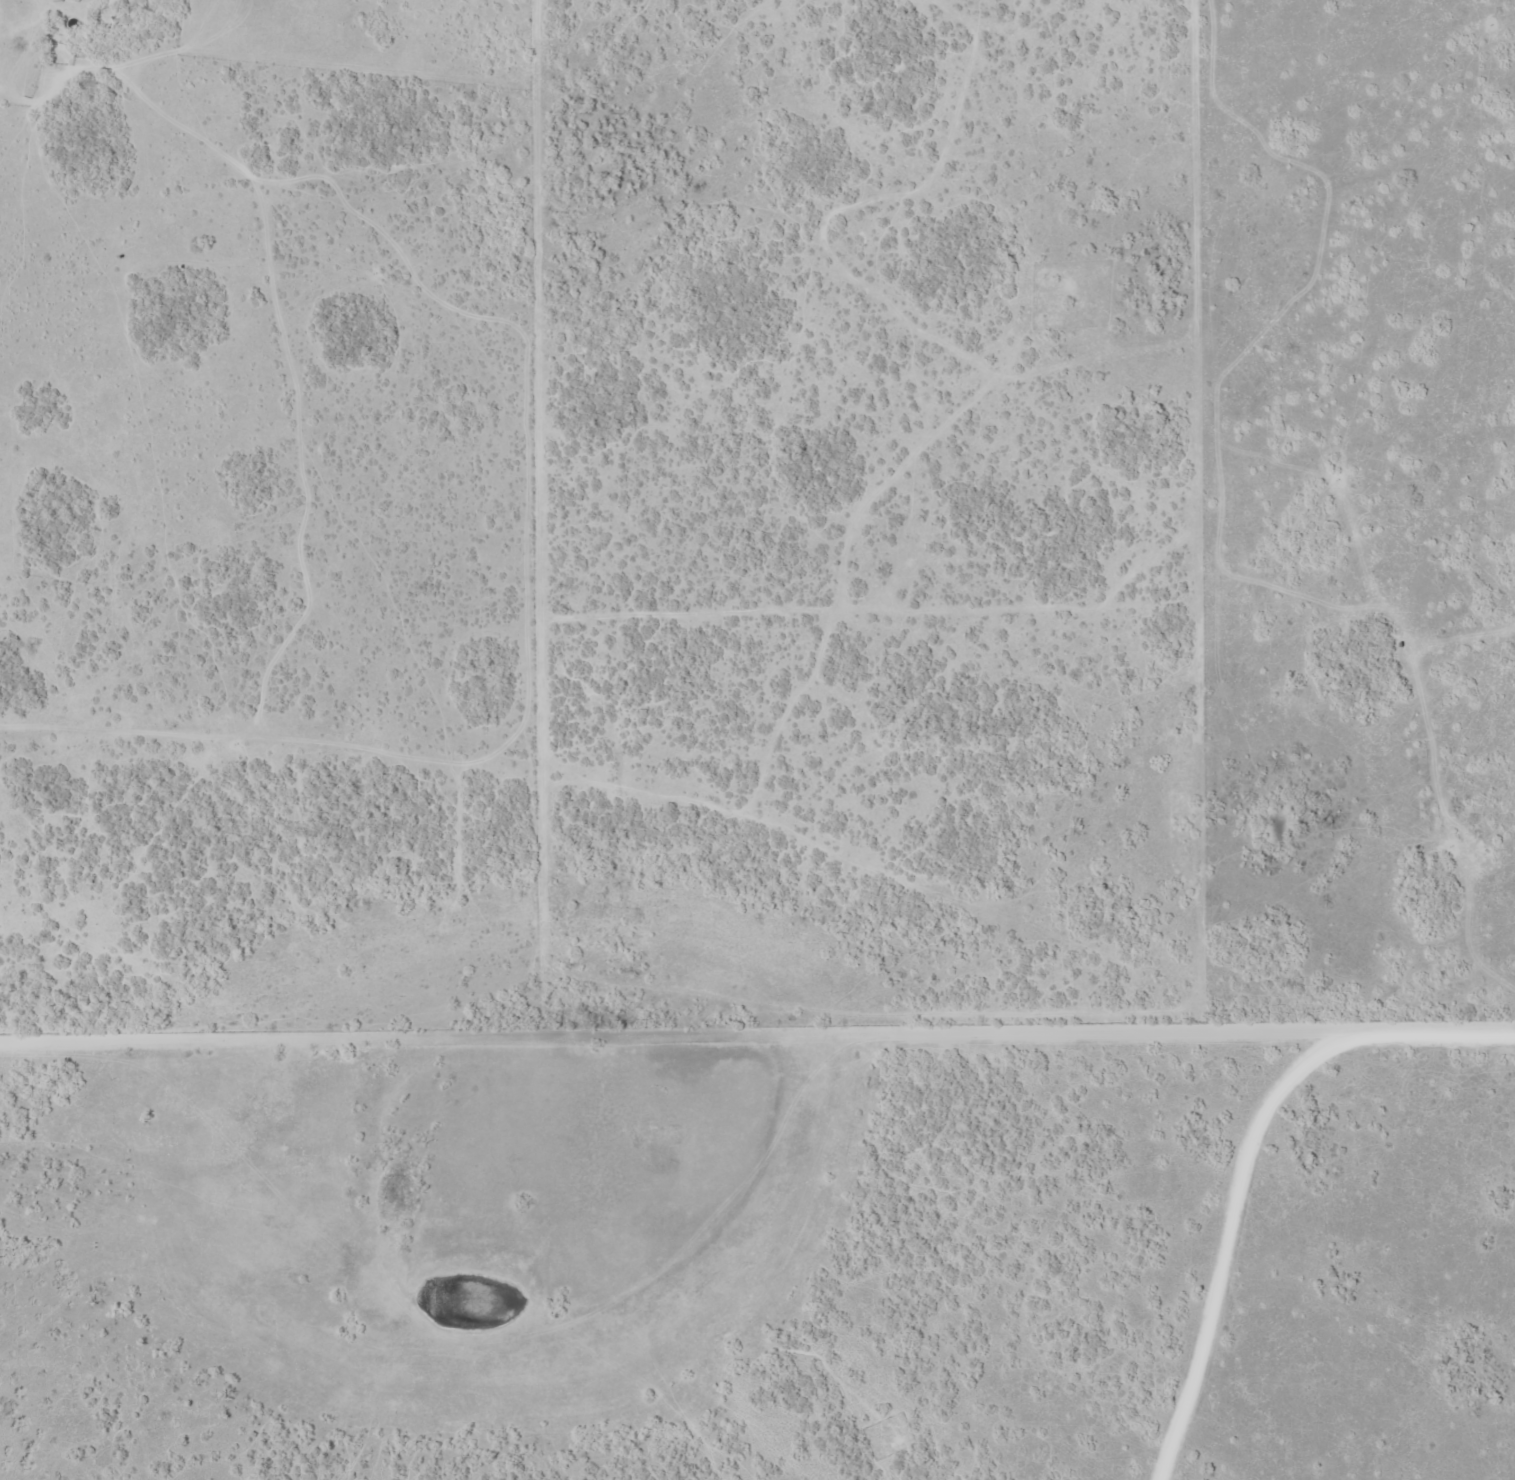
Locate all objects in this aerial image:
road: (1246, 1159)

